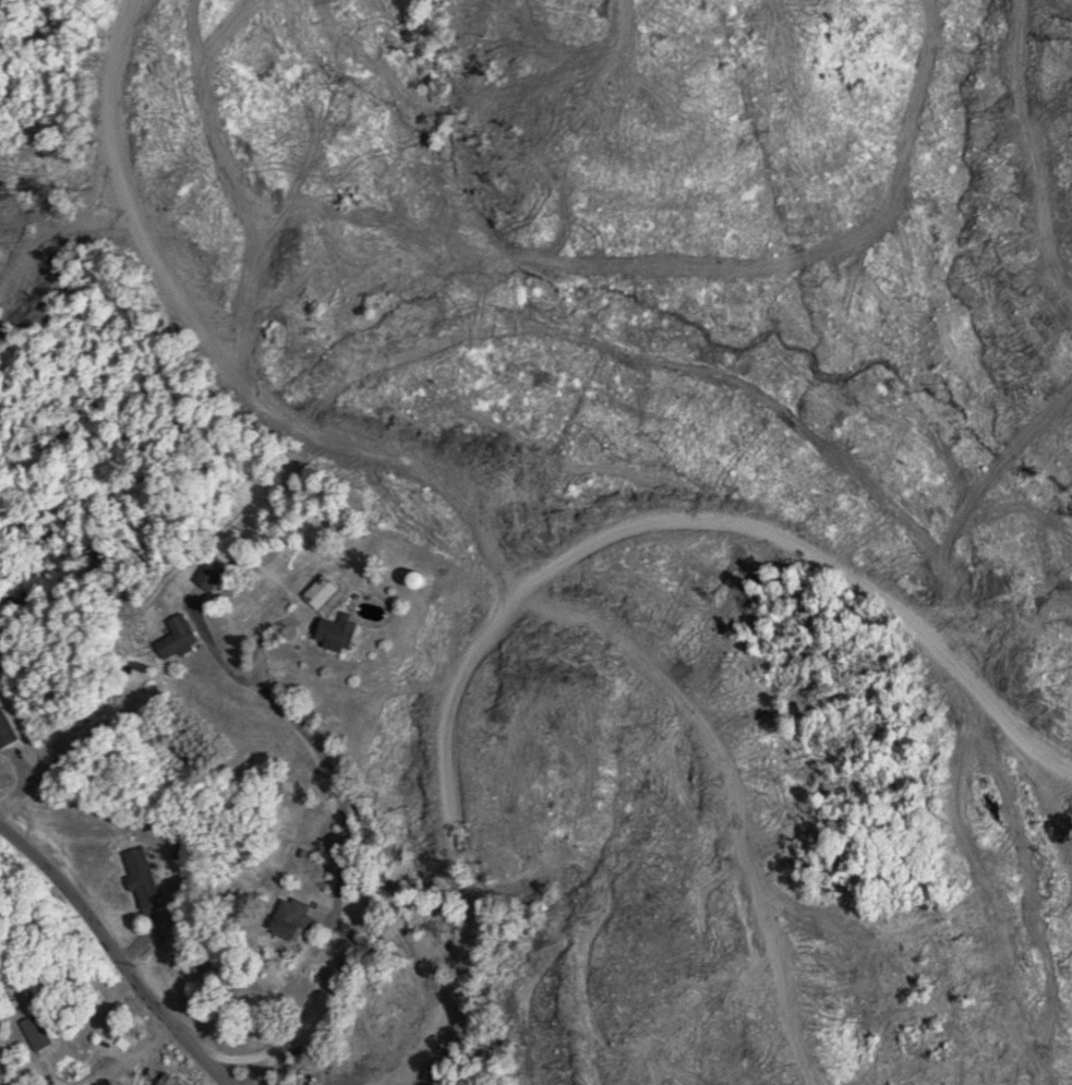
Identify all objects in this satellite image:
building: (209, 574)
building: (420, 577)
building: (322, 588)
building: (338, 629)
building: (180, 634)
building: (7, 727)
road: (342, 849)
building: (144, 877)
building: (293, 915)
road: (117, 953)
building: (36, 1028)
building: (169, 1080)

